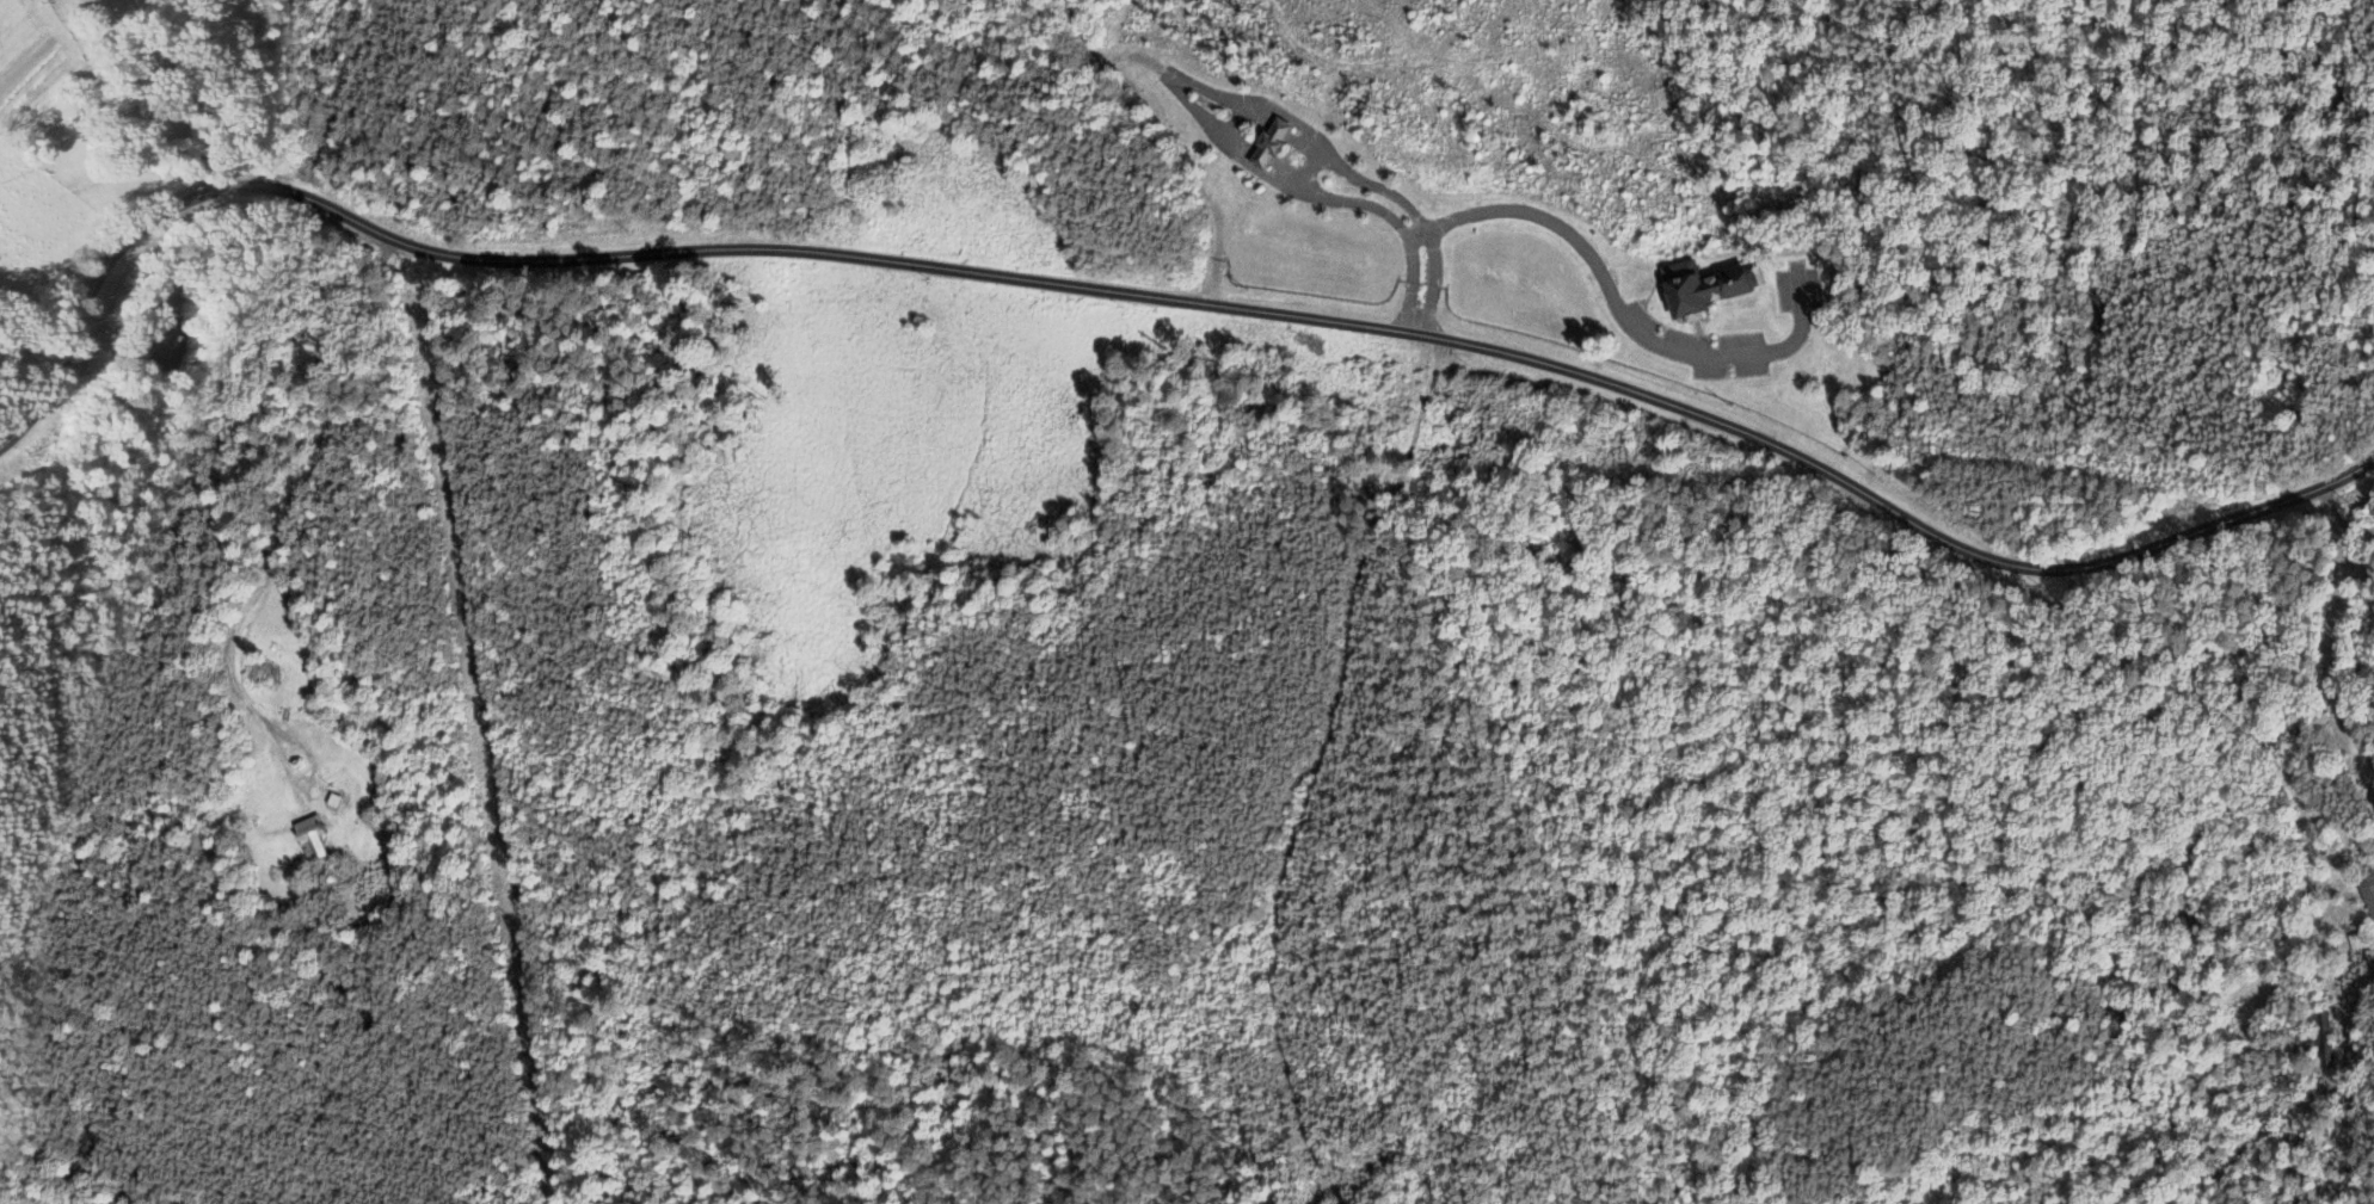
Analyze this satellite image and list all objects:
road: (1176, 79)
road: (220, 91)
building: (1257, 111)
road: (1235, 122)
building: (1272, 146)
road: (1168, 147)
road: (1310, 167)
building: (1705, 289)
road: (1145, 297)
road: (1618, 308)
building: (158, 341)
road: (2335, 524)
road: (271, 568)
building: (313, 840)
building: (2369, 896)
building: (2323, 1042)

